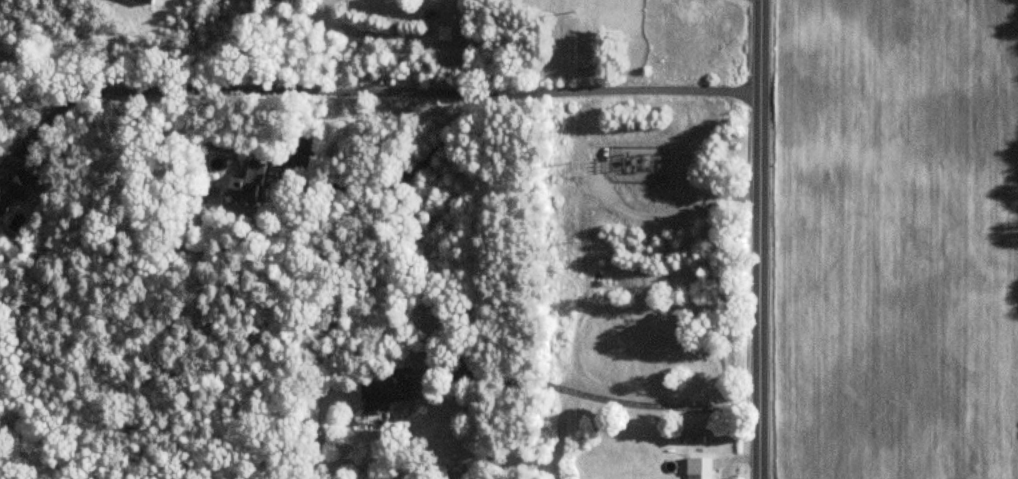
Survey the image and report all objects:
road: (529, 93)
road: (279, 95)
building: (247, 184)
road: (761, 239)
building: (383, 392)
road: (635, 401)
building: (699, 468)

